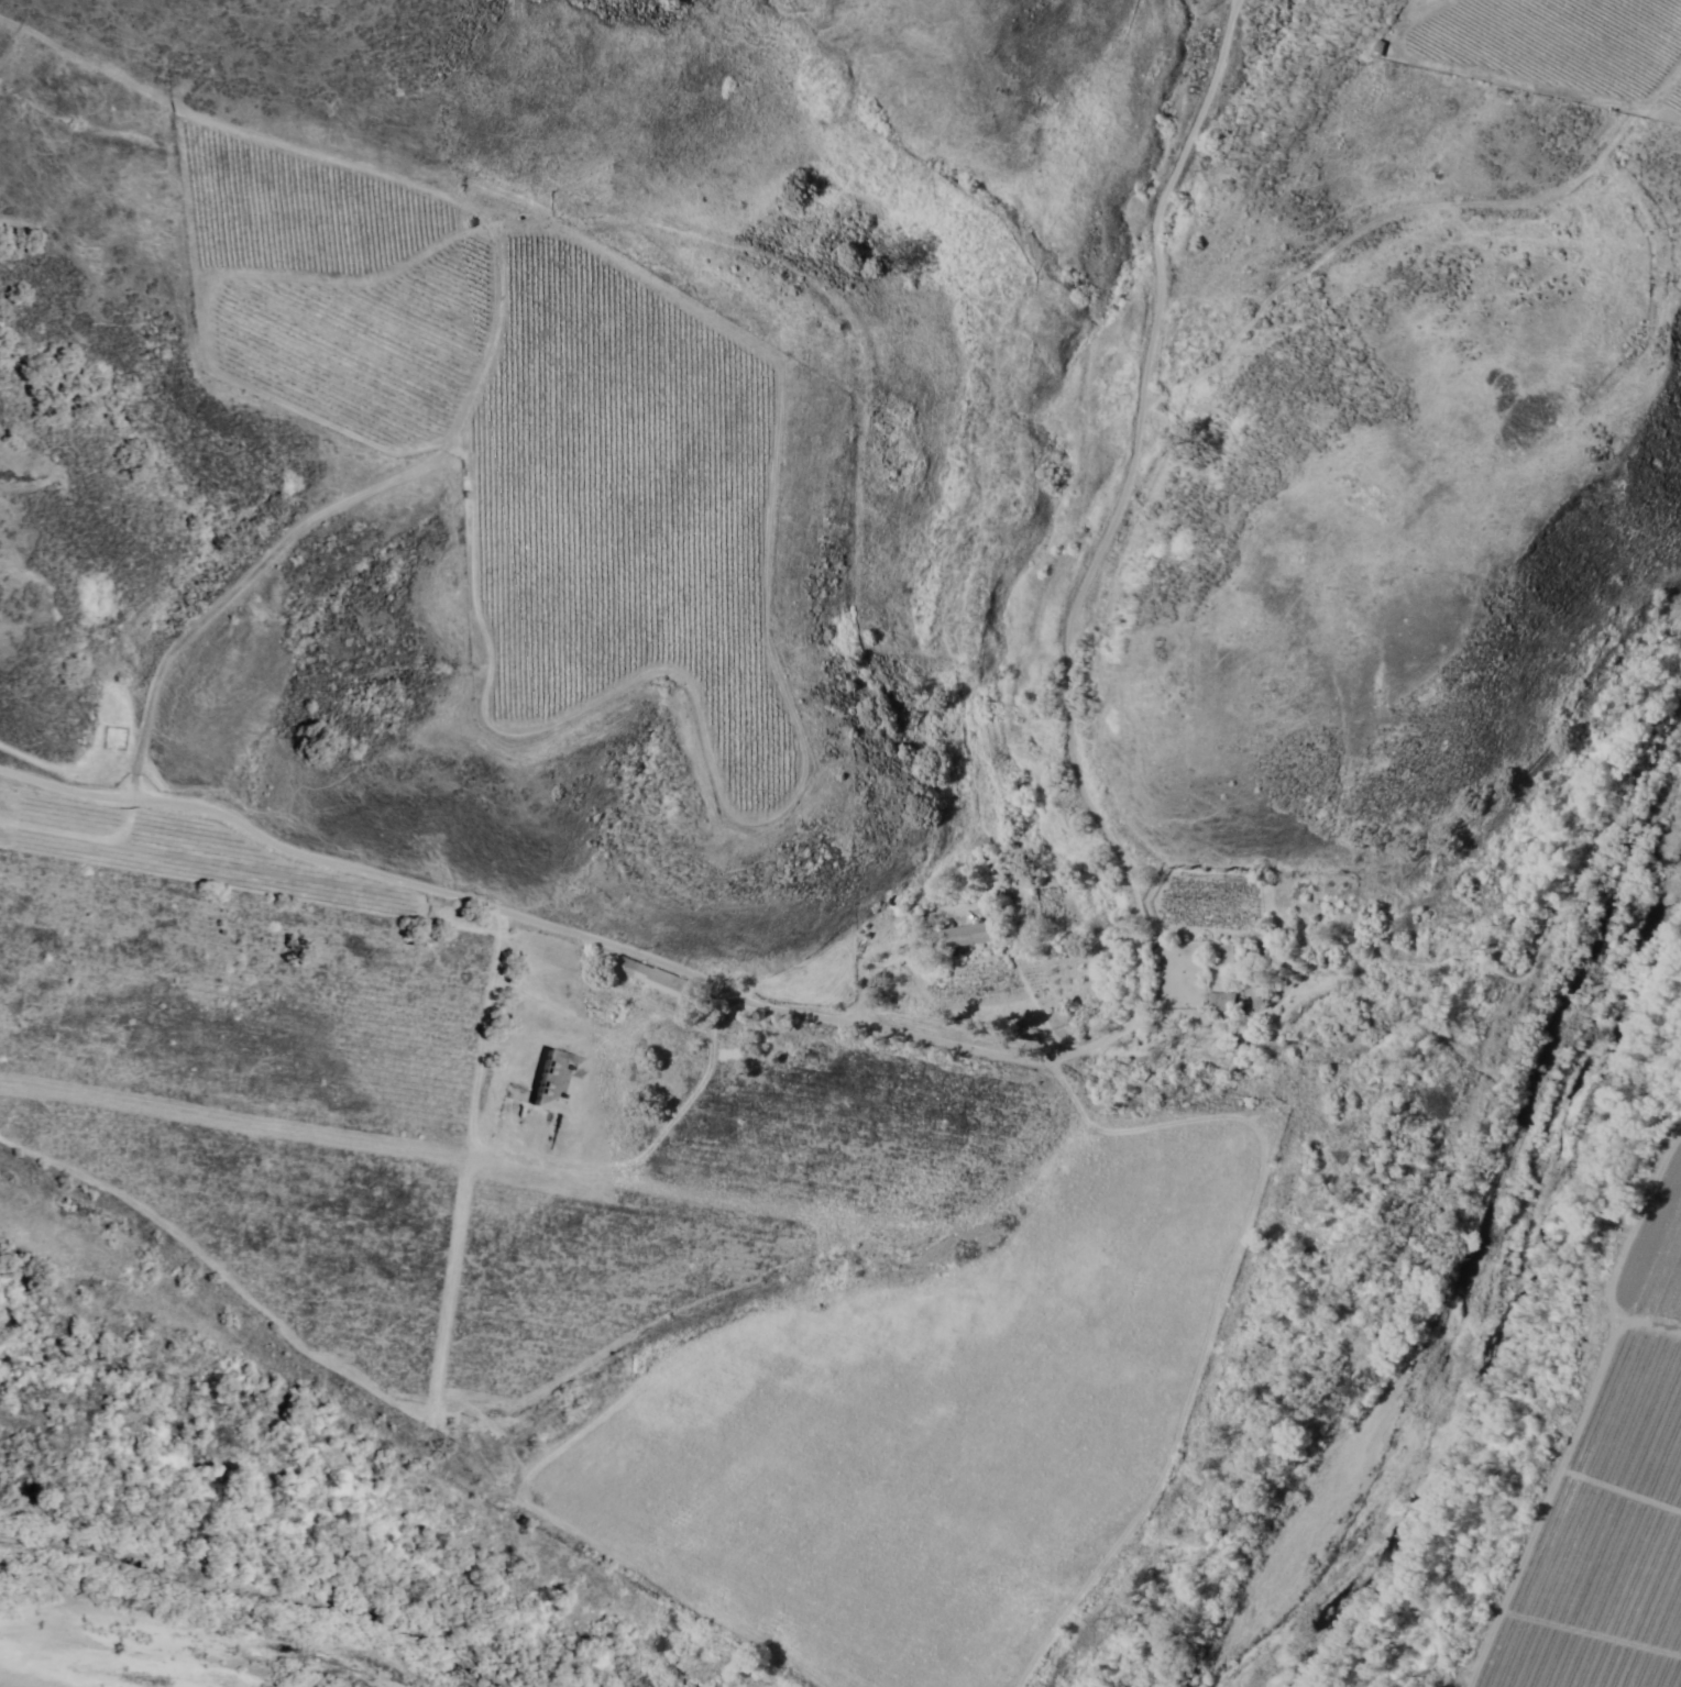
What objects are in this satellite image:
road: (1194, 16)
road: (516, 335)
crop: (584, 467)
road: (1041, 713)
road: (926, 892)
building: (971, 935)
building: (1223, 1003)
building: (558, 1080)
crop: (452, 1101)
river: (1468, 1248)
crop: (1619, 1515)
river: (208, 1644)

